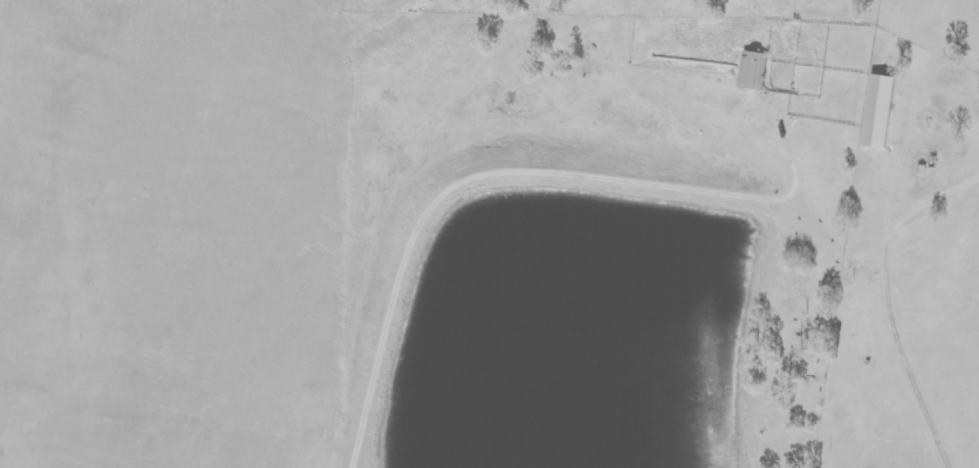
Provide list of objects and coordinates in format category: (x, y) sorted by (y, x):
building: (755, 70)
building: (882, 111)

